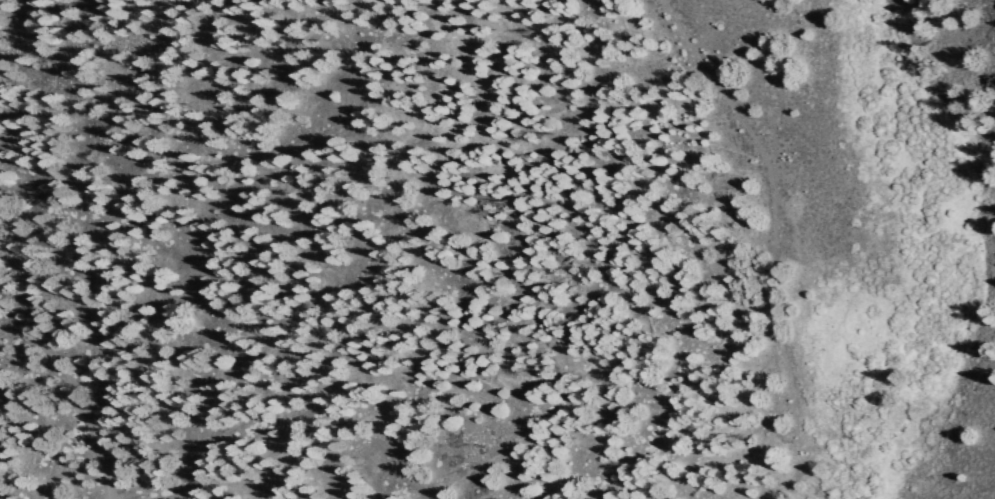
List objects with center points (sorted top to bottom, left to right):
road: (771, 235)
road: (73, 397)

